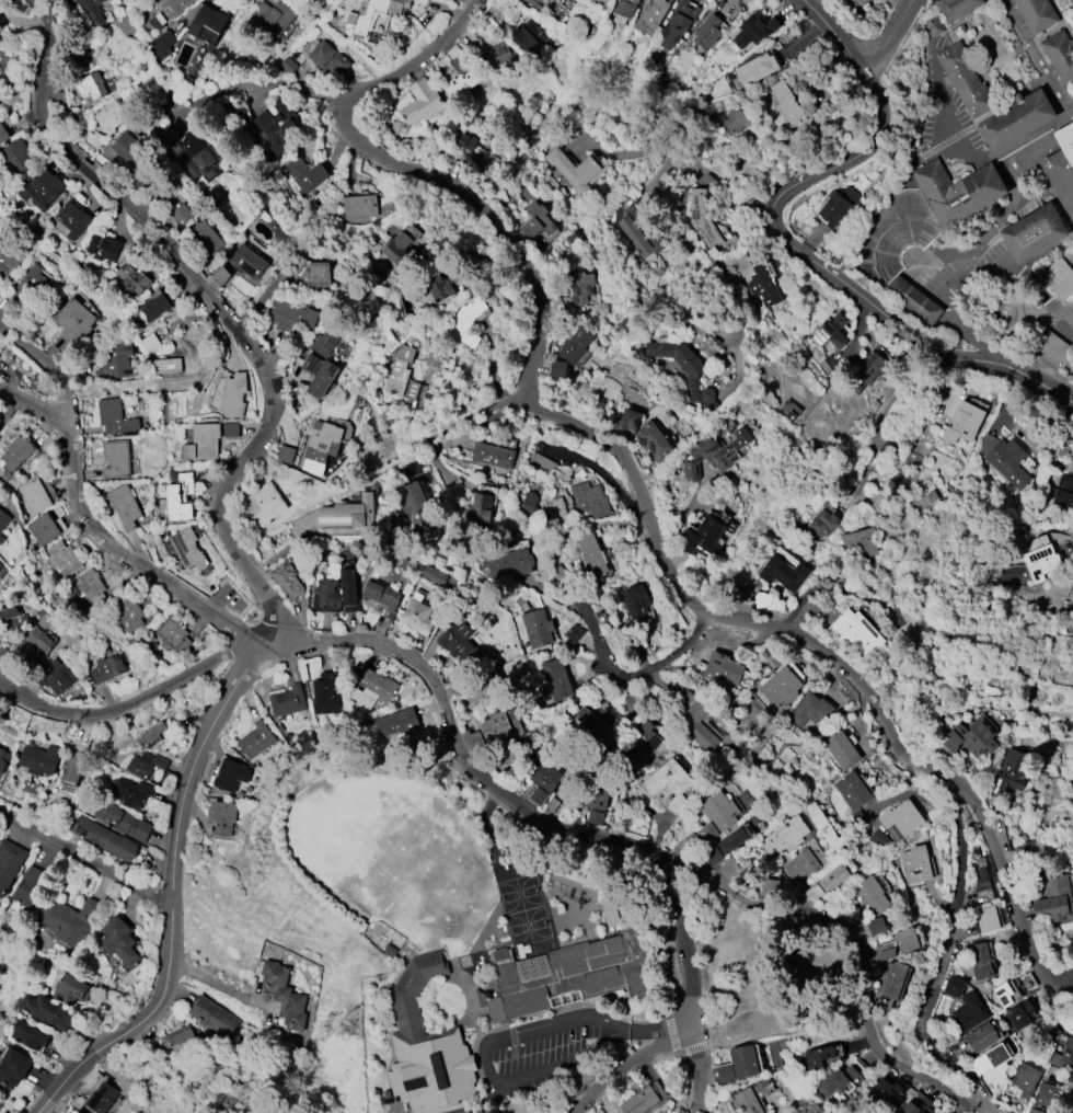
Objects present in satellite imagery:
building: (107, 0)
building: (554, 0)
building: (858, 1)
building: (540, 3)
road: (898, 4)
building: (177, 5)
building: (625, 8)
building: (955, 8)
building: (92, 11)
building: (1036, 13)
building: (650, 15)
building: (1072, 16)
building: (274, 19)
building: (358, 19)
building: (679, 22)
building: (208, 25)
building: (936, 25)
building: (1, 27)
building: (754, 30)
building: (707, 32)
road: (886, 36)
building: (526, 37)
building: (162, 45)
building: (1059, 53)
building: (327, 57)
building: (500, 57)
building: (7, 65)
building: (755, 68)
building: (965, 79)
building: (460, 80)
road: (265, 84)
building: (90, 87)
building: (422, 102)
building: (786, 103)
building: (109, 116)
building: (1016, 118)
building: (735, 119)
building: (276, 127)
building: (2, 134)
building: (465, 149)
building: (130, 151)
building: (475, 151)
building: (189, 153)
building: (16, 156)
building: (1062, 167)
building: (574, 170)
building: (303, 175)
building: (142, 183)
road: (724, 187)
building: (43, 190)
building: (960, 190)
building: (359, 206)
building: (838, 206)
building: (181, 215)
building: (72, 219)
building: (702, 219)
building: (536, 220)
road: (1000, 221)
building: (1034, 231)
building: (638, 232)
road: (783, 239)
building: (205, 240)
building: (103, 246)
building: (396, 246)
building: (7, 261)
building: (249, 262)
building: (309, 271)
building: (1058, 277)
building: (131, 278)
building: (761, 279)
building: (32, 285)
building: (579, 286)
building: (438, 287)
building: (913, 298)
building: (154, 306)
building: (290, 315)
building: (74, 320)
building: (466, 322)
building: (831, 332)
building: (150, 344)
building: (576, 345)
building: (1052, 346)
building: (116, 362)
building: (166, 366)
building: (869, 367)
building: (683, 368)
building: (557, 369)
road: (49, 371)
building: (401, 374)
building: (319, 375)
road: (737, 387)
road: (165, 388)
building: (233, 394)
road: (34, 406)
building: (789, 410)
road: (9, 412)
building: (114, 416)
building: (628, 420)
building: (962, 423)
building: (205, 440)
building: (653, 440)
building: (322, 443)
building: (16, 454)
building: (716, 454)
building: (493, 456)
building: (116, 459)
building: (1004, 459)
building: (1070, 460)
road: (382, 473)
road: (633, 480)
building: (1063, 492)
building: (35, 496)
building: (180, 497)
building: (589, 498)
building: (414, 501)
building: (483, 502)
building: (529, 503)
building: (266, 504)
building: (123, 506)
building: (554, 508)
building: (347, 513)
building: (3, 519)
building: (820, 525)
building: (43, 529)
building: (702, 537)
building: (1, 539)
building: (861, 541)
building: (186, 549)
road: (234, 549)
building: (590, 554)
building: (64, 559)
road: (134, 559)
building: (1040, 562)
building: (510, 565)
building: (2, 571)
building: (793, 574)
building: (434, 575)
building: (287, 581)
building: (89, 587)
building: (348, 590)
building: (381, 594)
building: (326, 596)
building: (633, 599)
building: (127, 612)
building: (416, 617)
building: (11, 619)
building: (536, 628)
building: (574, 632)
building: (855, 632)
building: (173, 635)
building: (459, 643)
building: (36, 645)
building: (3, 652)
road: (661, 662)
building: (107, 668)
building: (722, 668)
building: (54, 677)
building: (556, 679)
building: (478, 686)
building: (781, 686)
building: (371, 689)
building: (325, 693)
building: (287, 701)
road: (135, 702)
building: (811, 710)
building: (396, 723)
building: (695, 724)
building: (494, 727)
building: (593, 728)
building: (153, 734)
building: (256, 739)
building: (971, 739)
building: (641, 743)
building: (842, 750)
building: (39, 759)
building: (1, 760)
building: (145, 765)
building: (73, 766)
building: (1012, 771)
building: (231, 774)
building: (541, 781)
building: (668, 784)
building: (853, 791)
building: (130, 792)
building: (567, 793)
building: (597, 796)
building: (552, 804)
building: (719, 808)
building: (593, 816)
building: (222, 817)
building: (901, 817)
building: (123, 822)
building: (784, 836)
building: (104, 838)
building: (697, 839)
building: (731, 841)
road: (648, 851)
building: (1026, 854)
road: (85, 859)
building: (9, 864)
building: (915, 864)
building: (799, 865)
building: (728, 869)
building: (981, 880)
building: (828, 882)
building: (28, 887)
building: (769, 888)
building: (872, 895)
building: (1053, 900)
building: (71, 918)
building: (988, 919)
building: (877, 926)
building: (907, 940)
building: (118, 942)
road: (943, 960)
building: (981, 962)
building: (569, 976)
road: (1064, 978)
building: (893, 979)
building: (1026, 983)
road: (216, 985)
road: (688, 985)
building: (954, 987)
road: (1063, 988)
building: (68, 989)
building: (284, 995)
building: (1004, 995)
building: (46, 1010)
building: (968, 1013)
building: (1020, 1014)
building: (212, 1017)
building: (30, 1035)
building: (982, 1037)
building: (181, 1040)
road: (480, 1041)
building: (428, 1048)
building: (818, 1056)
building: (1063, 1056)
building: (990, 1058)
building: (745, 1062)
road: (628, 1065)
building: (12, 1066)
building: (726, 1074)
building: (1026, 1079)
building: (837, 1081)
building: (97, 1090)
building: (1070, 1090)
building: (884, 1094)
building: (1050, 1095)
building: (752, 1097)
building: (641, 1101)
building: (910, 1109)
building: (1034, 1111)

